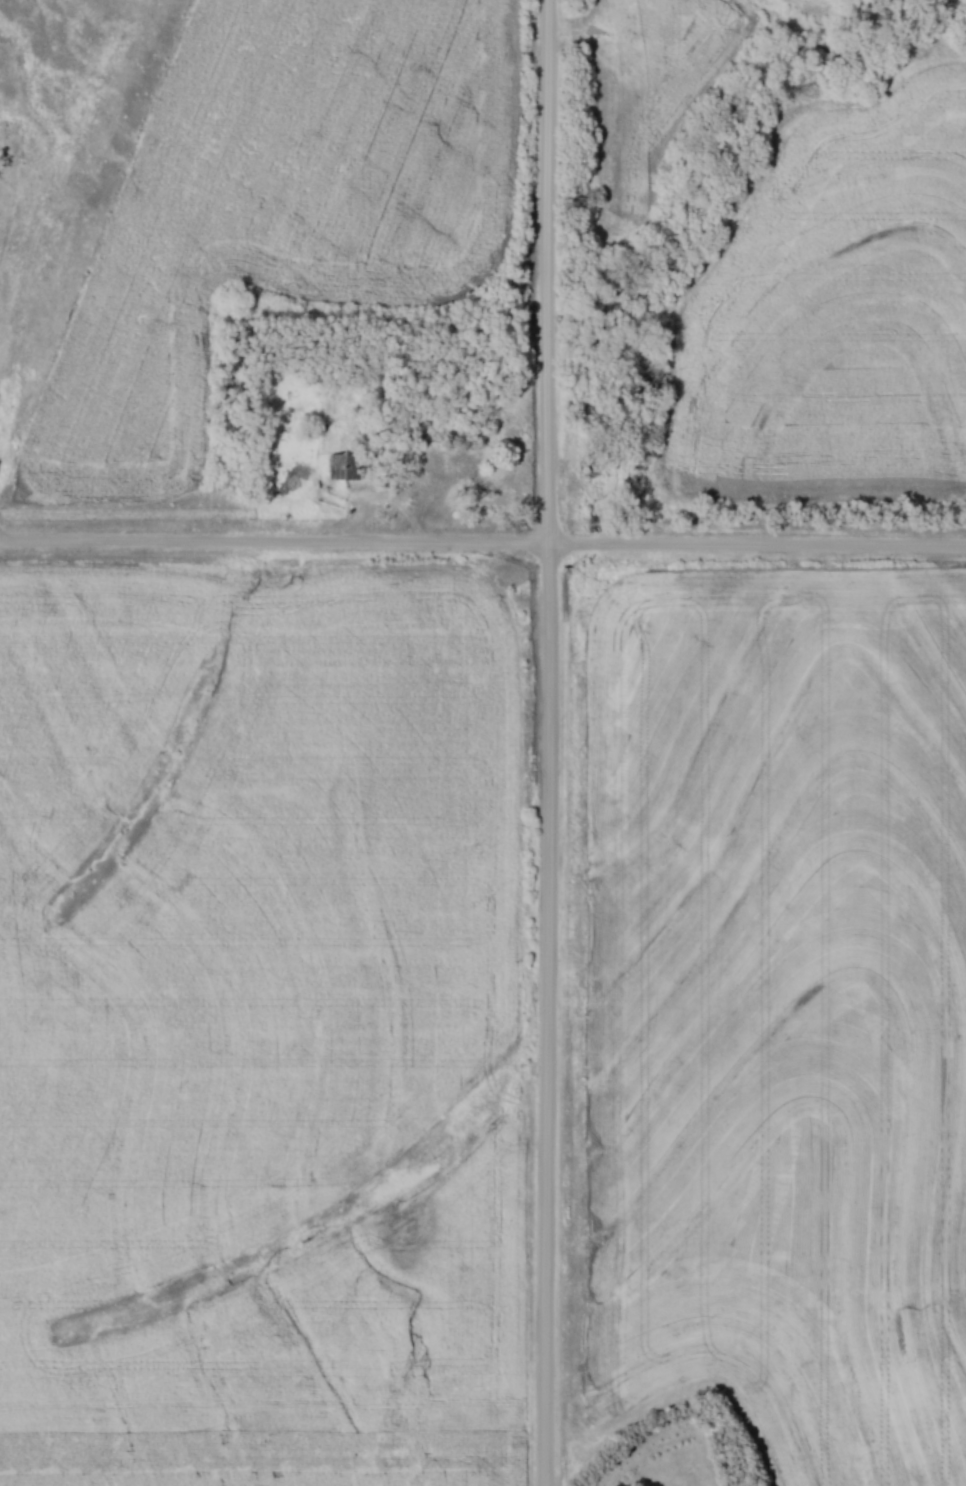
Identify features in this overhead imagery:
building: (344, 467)
road: (421, 479)
road: (483, 545)
road: (553, 742)

